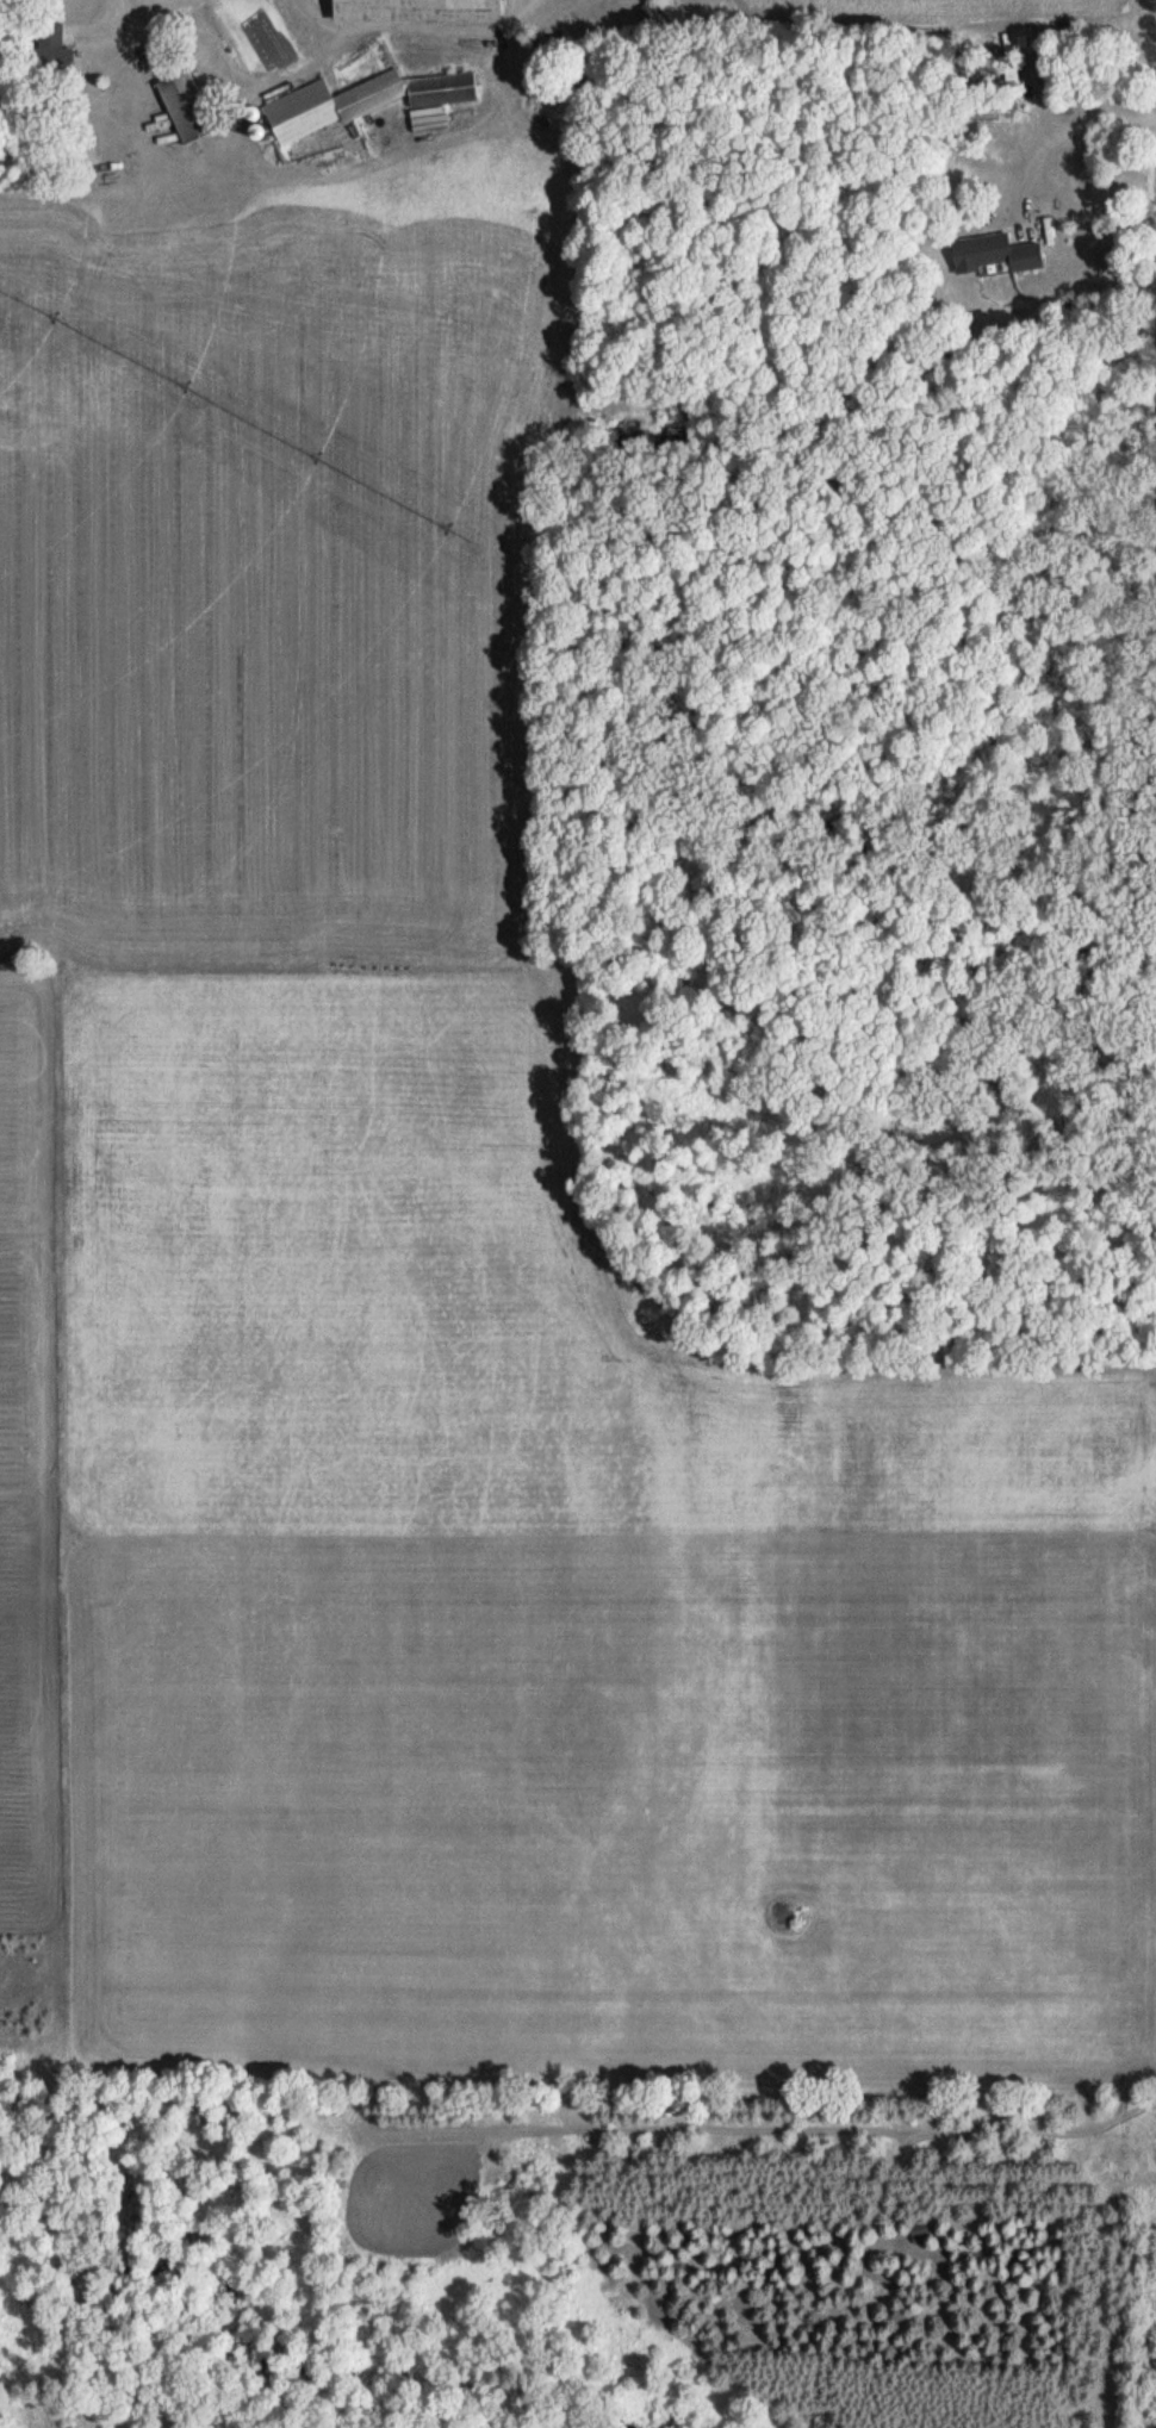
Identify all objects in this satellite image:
road: (128, 8)
building: (667, 8)
building: (415, 10)
building: (51, 50)
building: (360, 100)
building: (184, 106)
road: (1071, 124)
building: (994, 253)
building: (919, 2229)

